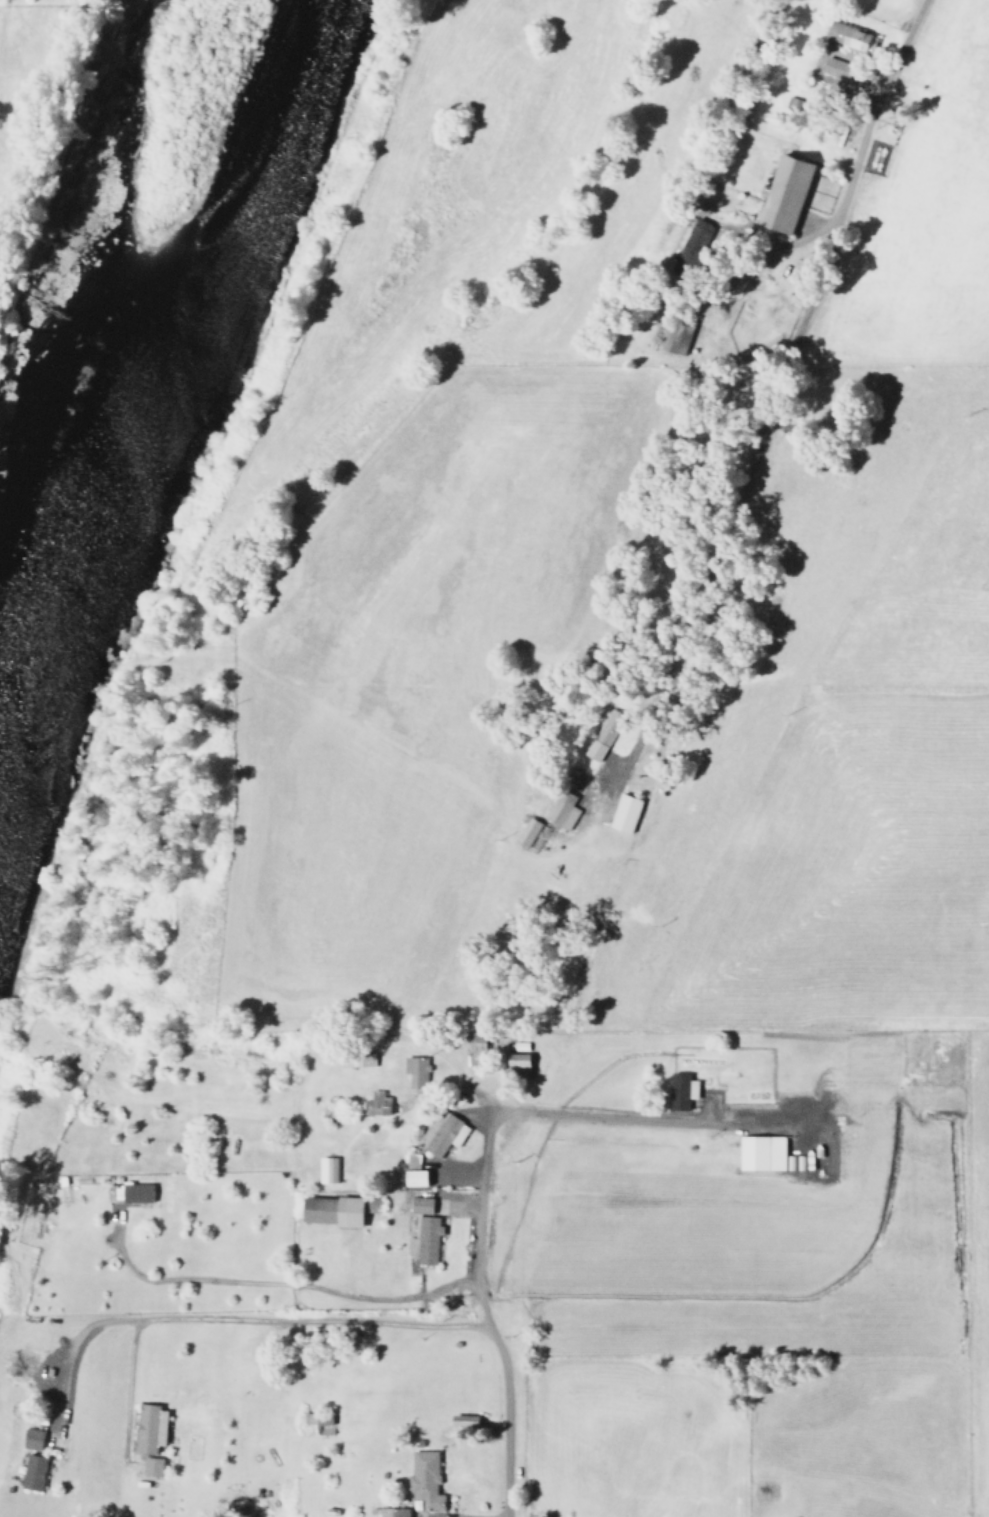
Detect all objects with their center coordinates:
building: (847, 36)
building: (783, 193)
building: (690, 242)
river: (160, 360)
road: (779, 390)
building: (601, 735)
building: (560, 810)
building: (623, 813)
building: (525, 833)
building: (473, 1049)
building: (515, 1065)
building: (414, 1072)
building: (680, 1091)
building: (375, 1104)
building: (440, 1134)
building: (760, 1153)
building: (325, 1170)
building: (413, 1179)
building: (329, 1212)
building: (422, 1232)
road: (483, 1317)
building: (318, 1422)
building: (148, 1427)
building: (30, 1439)
building: (150, 1466)
building: (31, 1472)
building: (424, 1480)
building: (393, 1512)

